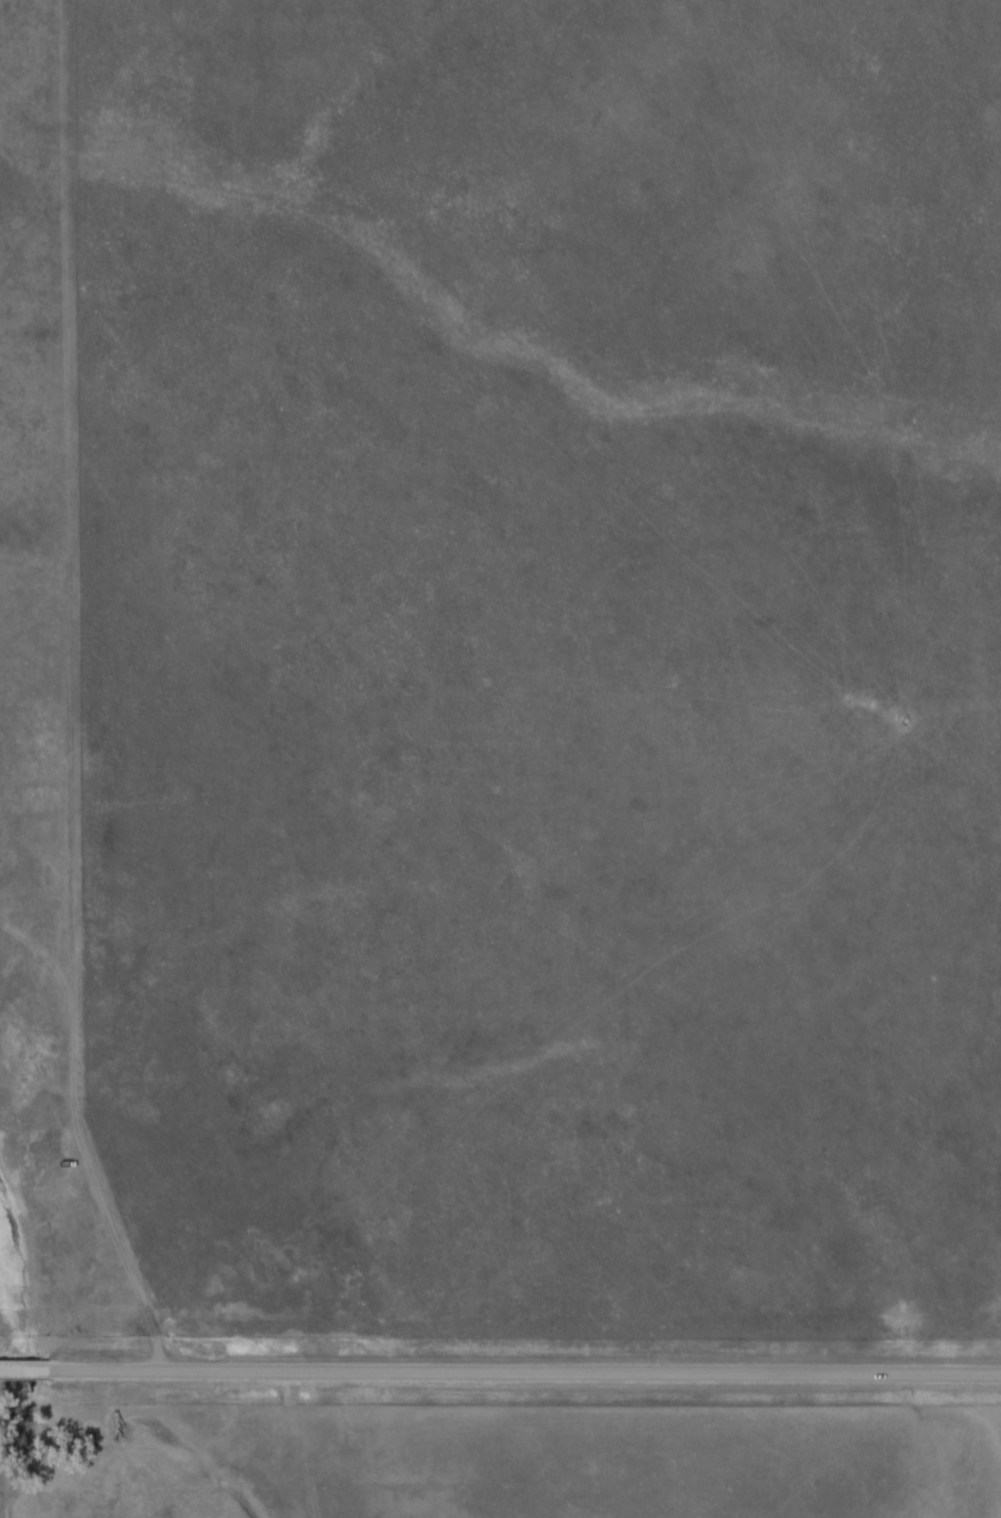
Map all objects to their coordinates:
road: (500, 1378)

